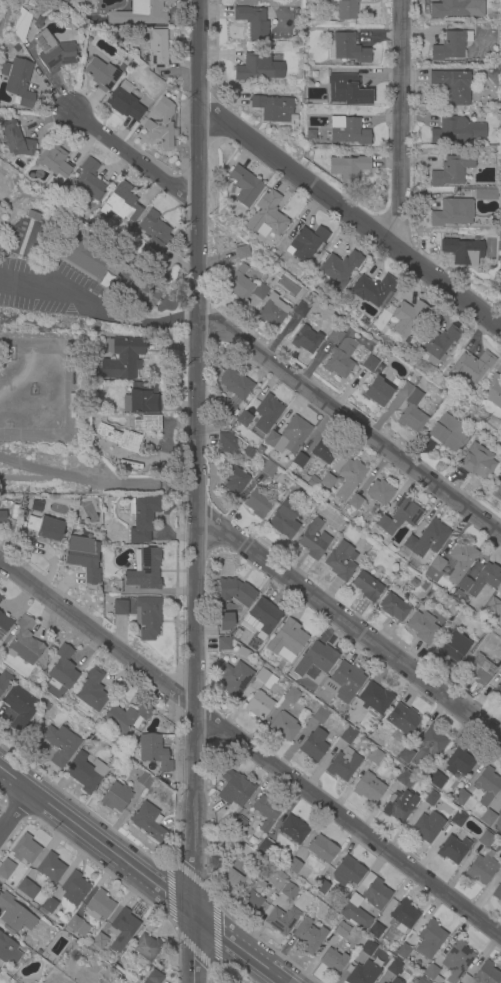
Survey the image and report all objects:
building: (65, 1)
building: (346, 8)
building: (450, 9)
building: (141, 13)
building: (39, 22)
building: (252, 22)
building: (21, 25)
building: (450, 45)
building: (156, 47)
building: (347, 49)
building: (53, 52)
building: (253, 67)
building: (100, 73)
building: (18, 81)
building: (452, 85)
building: (346, 90)
building: (124, 101)
building: (272, 108)
building: (161, 124)
road: (402, 127)
building: (347, 130)
building: (456, 130)
building: (310, 134)
building: (15, 139)
building: (54, 160)
road: (137, 161)
building: (349, 167)
building: (452, 170)
building: (88, 181)
building: (244, 185)
building: (485, 194)
building: (121, 203)
building: (451, 212)
building: (32, 216)
building: (265, 216)
road: (351, 218)
building: (155, 232)
road: (26, 240)
building: (306, 242)
building: (462, 251)
building: (241, 253)
building: (107, 268)
building: (338, 268)
building: (238, 283)
building: (500, 288)
building: (371, 289)
parking lot: (57, 294)
road: (90, 295)
building: (269, 307)
building: (300, 310)
building: (406, 317)
road: (163, 319)
building: (335, 335)
building: (305, 339)
building: (436, 340)
building: (388, 353)
building: (7, 355)
building: (123, 357)
building: (340, 358)
building: (374, 365)
building: (471, 366)
building: (234, 383)
building: (395, 383)
building: (493, 391)
building: (376, 392)
road: (66, 393)
building: (142, 398)
building: (70, 406)
building: (227, 408)
building: (410, 408)
building: (266, 413)
building: (242, 420)
building: (147, 424)
road: (350, 425)
building: (7, 426)
building: (447, 432)
building: (288, 436)
building: (119, 438)
building: (225, 447)
building: (324, 450)
building: (252, 451)
building: (299, 460)
building: (476, 461)
building: (267, 468)
building: (346, 475)
building: (500, 475)
road: (28, 479)
building: (233, 480)
road: (98, 481)
building: (326, 481)
building: (311, 482)
building: (295, 488)
road: (198, 491)
building: (323, 491)
building: (380, 492)
building: (497, 492)
building: (353, 502)
building: (257, 503)
building: (398, 516)
building: (2, 518)
building: (142, 518)
building: (284, 519)
building: (45, 527)
building: (313, 539)
building: (426, 539)
building: (84, 561)
building: (340, 561)
building: (460, 561)
building: (144, 569)
building: (434, 569)
building: (477, 582)
building: (413, 583)
building: (366, 586)
building: (423, 587)
building: (113, 588)
building: (235, 591)
building: (0, 597)
building: (409, 599)
building: (492, 605)
building: (393, 607)
building: (120, 608)
building: (262, 616)
building: (147, 618)
building: (225, 621)
building: (4, 624)
building: (422, 629)
road: (351, 630)
building: (286, 639)
building: (24, 642)
building: (489, 642)
building: (223, 644)
building: (452, 647)
building: (318, 659)
building: (61, 669)
building: (479, 669)
building: (235, 678)
building: (265, 678)
building: (5, 679)
building: (346, 680)
building: (497, 691)
building: (91, 692)
building: (291, 695)
building: (374, 698)
building: (45, 705)
building: (258, 705)
building: (19, 708)
building: (320, 716)
building: (124, 719)
building: (401, 719)
building: (357, 724)
building: (283, 727)
building: (347, 736)
building: (60, 744)
building: (314, 745)
building: (428, 745)
road: (250, 751)
building: (154, 752)
building: (374, 756)
building: (403, 756)
building: (458, 762)
building: (344, 764)
building: (85, 772)
building: (402, 777)
building: (435, 779)
building: (145, 781)
building: (486, 785)
building: (234, 788)
building: (368, 788)
building: (115, 797)
building: (460, 797)
building: (430, 798)
building: (500, 804)
building: (398, 805)
building: (266, 811)
road: (16, 814)
building: (459, 818)
building: (488, 818)
building: (148, 822)
building: (498, 822)
building: (238, 825)
building: (426, 827)
building: (293, 830)
building: (486, 839)
building: (265, 847)
building: (321, 848)
building: (25, 849)
building: (453, 850)
building: (293, 866)
building: (49, 868)
building: (482, 868)
building: (6, 869)
building: (345, 869)
road: (143, 876)
road: (192, 877)
building: (245, 886)
building: (321, 887)
building: (74, 888)
building: (27, 889)
building: (289, 891)
building: (374, 892)
building: (497, 892)
road: (168, 893)
building: (49, 905)
building: (99, 906)
building: (354, 912)
building: (15, 914)
building: (402, 915)
building: (281, 920)
building: (75, 925)
building: (121, 929)
building: (342, 930)
building: (375, 931)
road: (215, 934)
building: (308, 937)
building: (429, 939)
building: (99, 941)
building: (146, 947)
building: (367, 947)
building: (8, 950)
road: (193, 951)
building: (402, 951)
building: (456, 960)
building: (333, 961)
building: (394, 966)
building: (362, 973)
building: (431, 973)
building: (486, 974)
building: (148, 979)
building: (419, 980)
building: (395, 981)
building: (380, 982)

